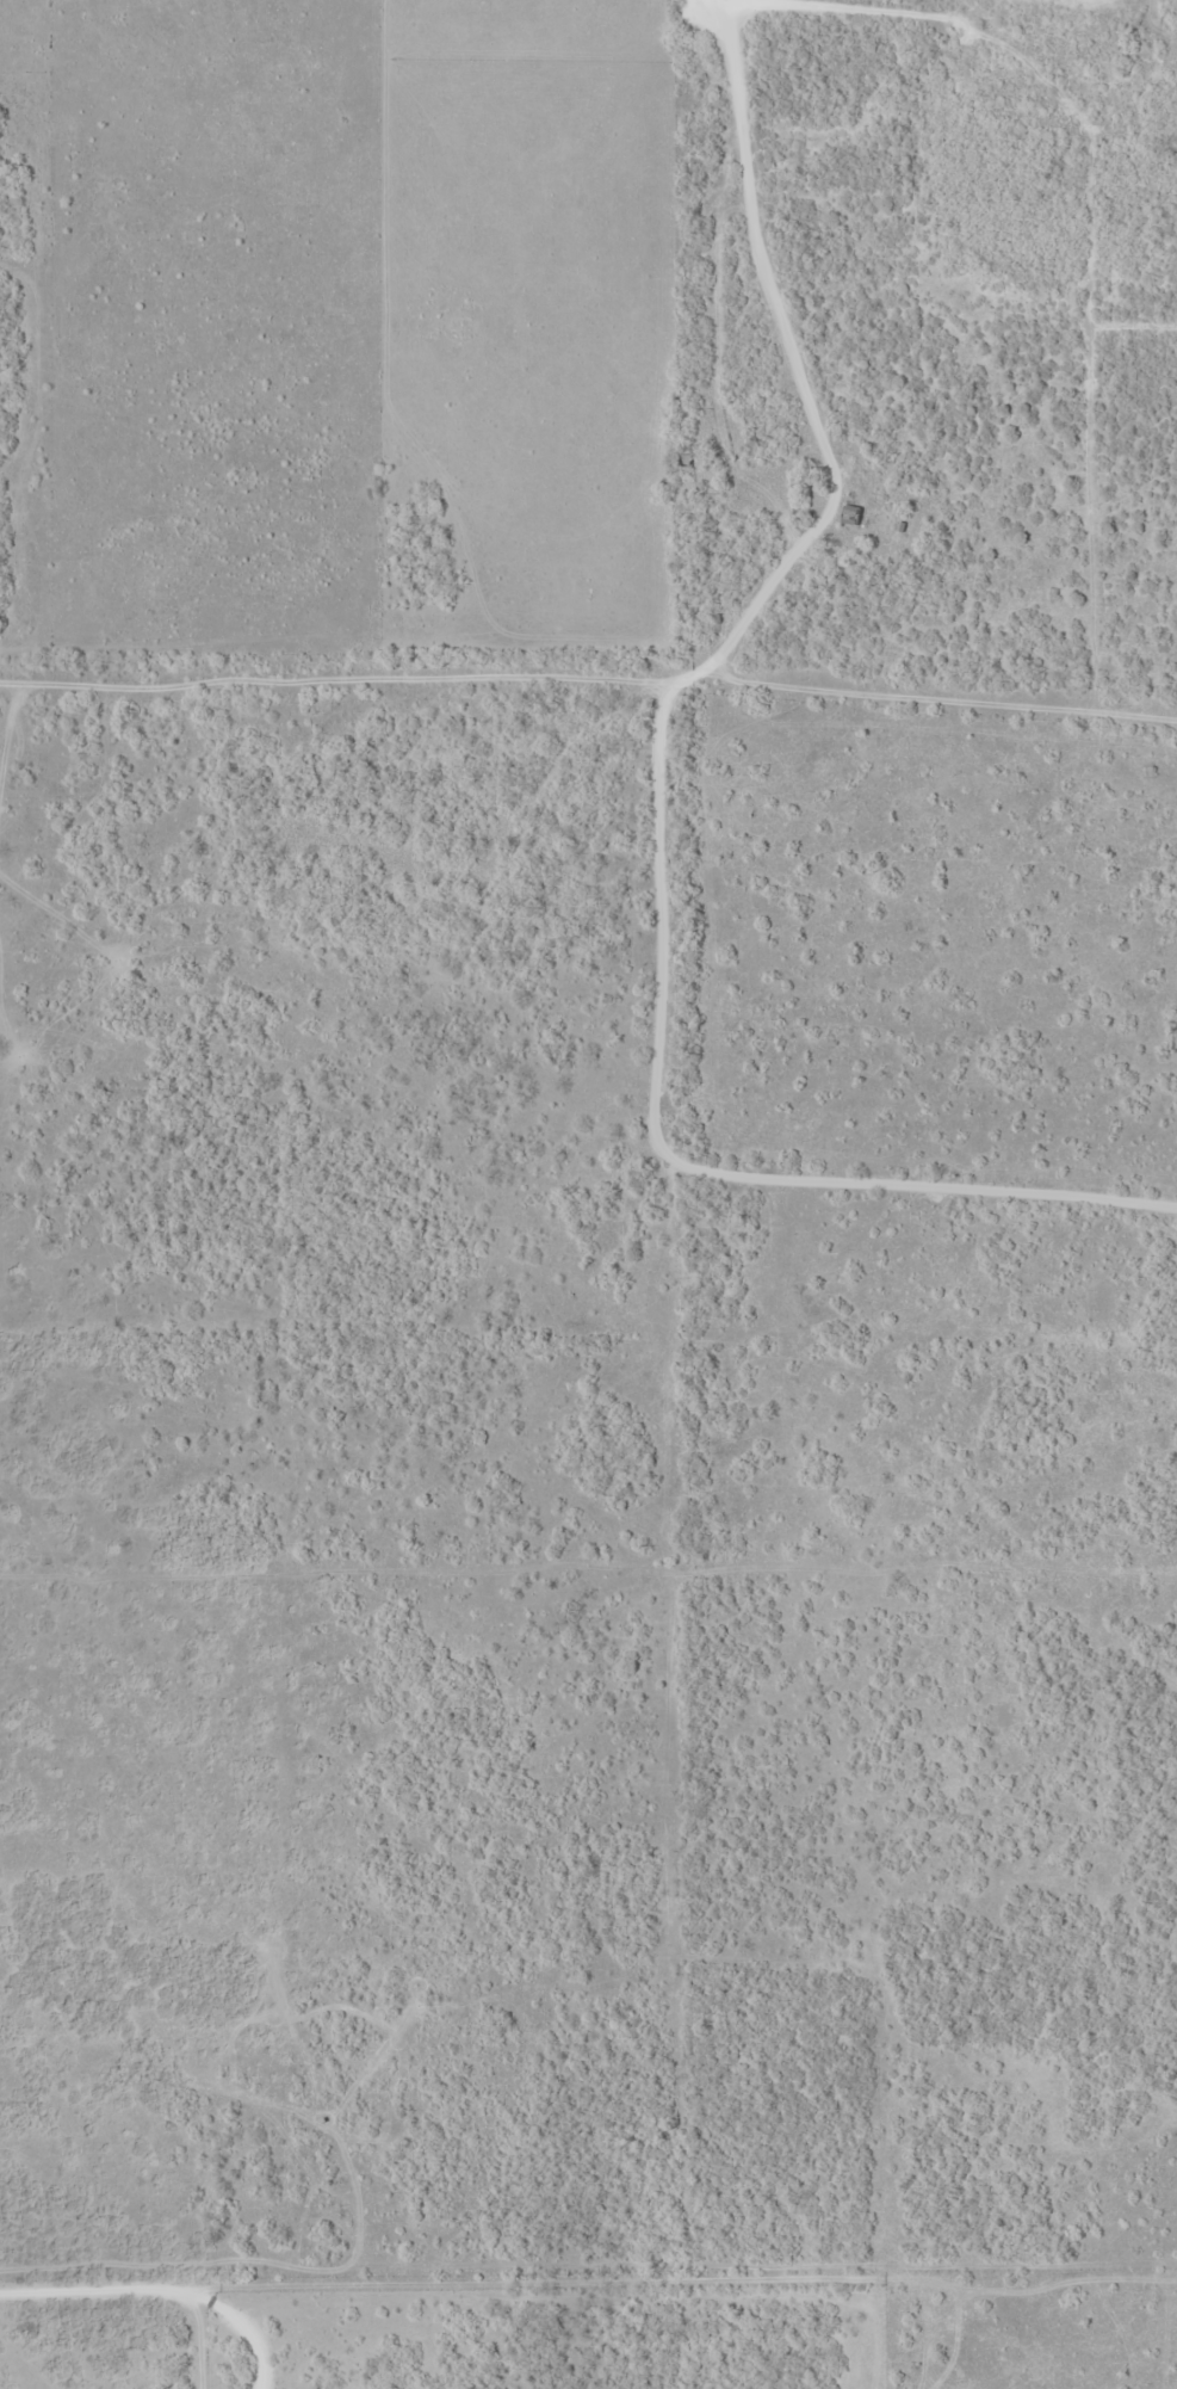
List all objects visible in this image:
building: (848, 516)
road: (679, 790)

